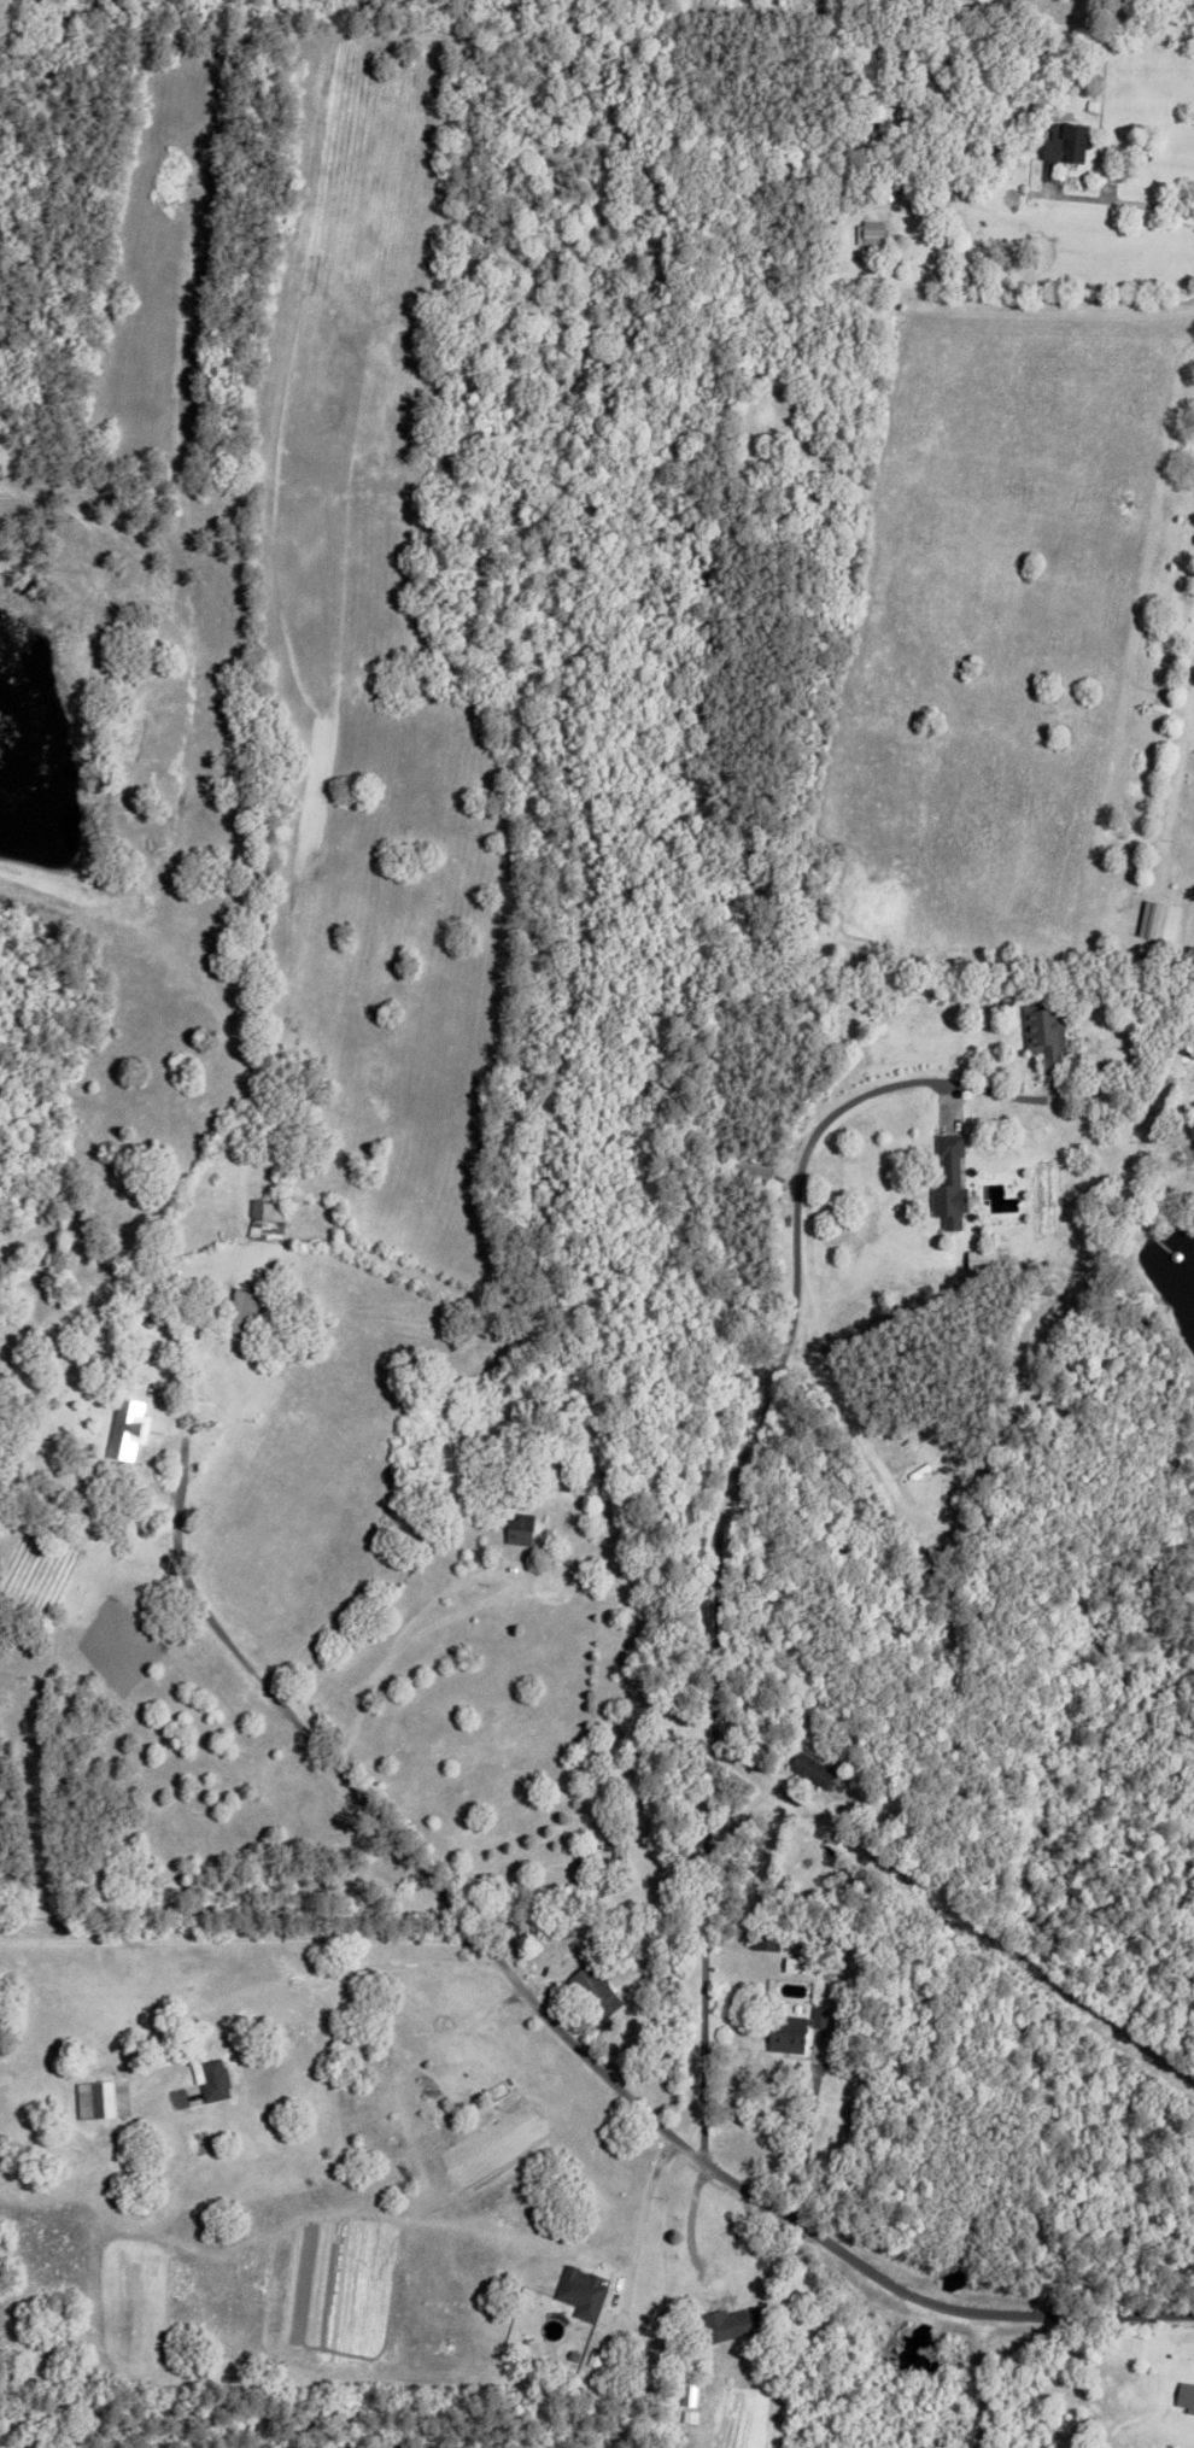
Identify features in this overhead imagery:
building: (195, 27)
building: (1064, 139)
building: (907, 182)
building: (885, 188)
road: (1116, 197)
building: (867, 233)
building: (807, 492)
building: (1157, 705)
building: (1163, 921)
building: (1153, 962)
building: (1190, 1015)
building: (1042, 1031)
building: (751, 1165)
building: (947, 1181)
building: (789, 1201)
building: (264, 1219)
building: (779, 1219)
building: (288, 1240)
building: (987, 1260)
building: (238, 1308)
building: (248, 1312)
building: (123, 1423)
road: (748, 1441)
road: (861, 1441)
building: (920, 1464)
building: (564, 1481)
building: (520, 1529)
building: (933, 1556)
road: (386, 1645)
building: (813, 1769)
building: (618, 1851)
road: (504, 1869)
road: (228, 1910)
road: (238, 1935)
building: (759, 1942)
building: (620, 1948)
road: (359, 1961)
building: (801, 1966)
building: (589, 1992)
building: (794, 2030)
road: (560, 2031)
building: (212, 2080)
building: (417, 2096)
building: (99, 2099)
road: (804, 2142)
road: (639, 2215)
road: (690, 2218)
building: (780, 2262)
building: (585, 2292)
river: (931, 2308)
building: (622, 2311)
building: (722, 2320)
building: (1183, 2393)

